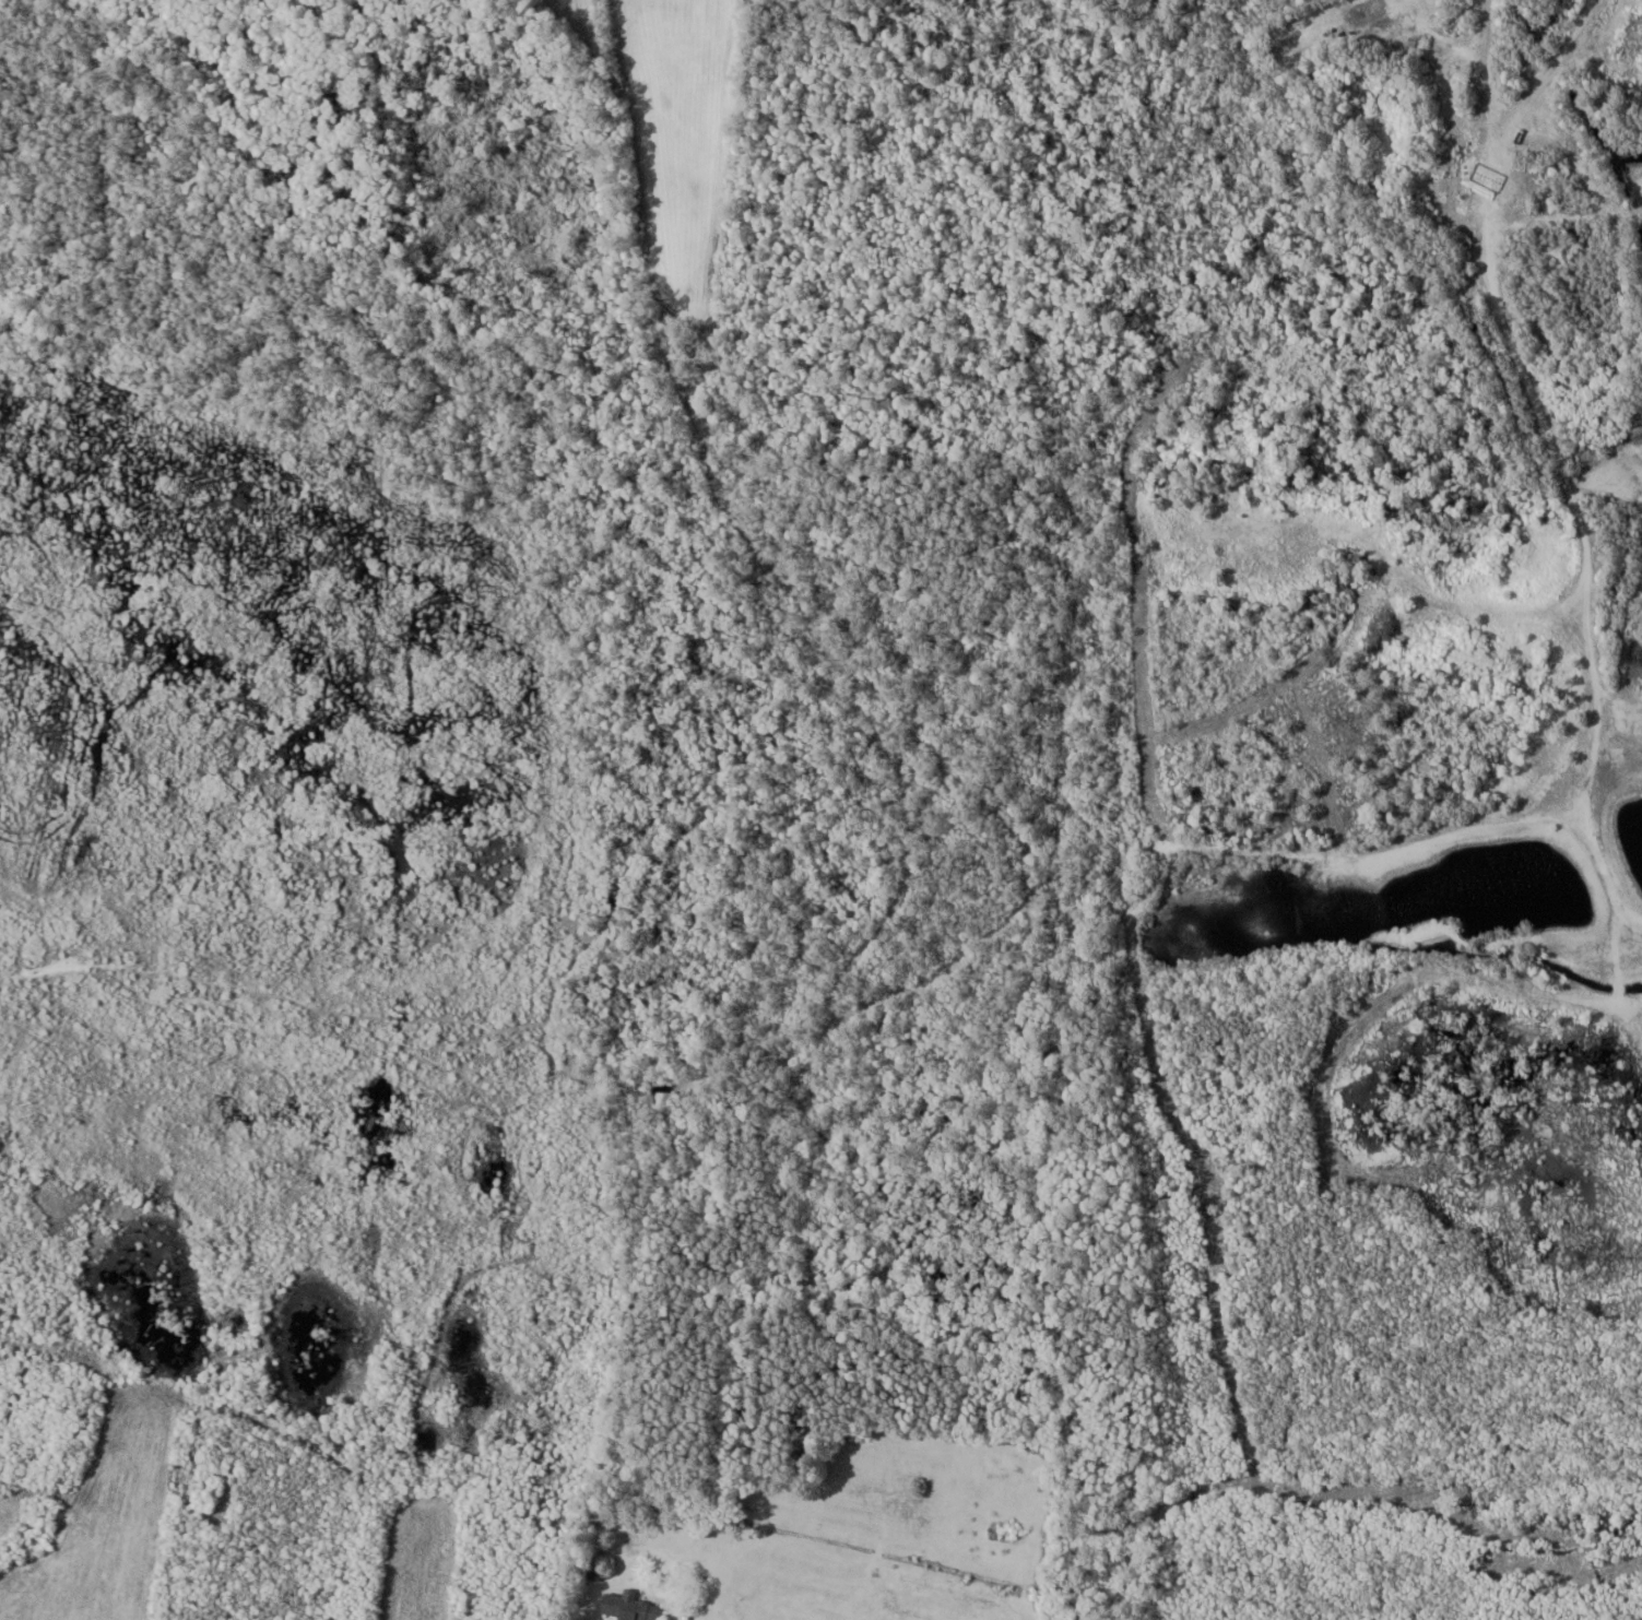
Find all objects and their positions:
road: (622, 74)
road: (807, 1068)
building: (630, 1607)

